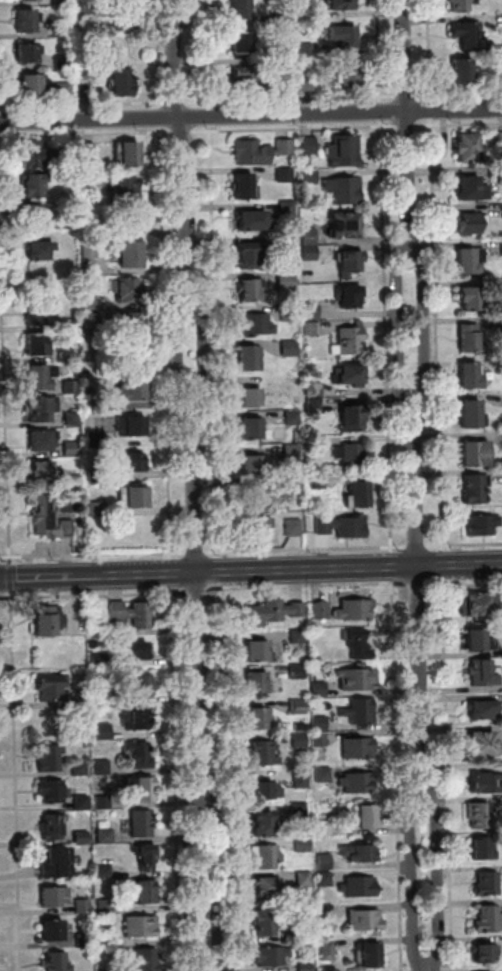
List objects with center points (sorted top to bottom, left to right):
building: (28, 0)
building: (62, 2)
building: (342, 6)
building: (463, 6)
building: (85, 7)
building: (307, 8)
building: (242, 11)
building: (283, 17)
building: (124, 18)
building: (27, 22)
building: (63, 29)
building: (346, 37)
building: (472, 38)
building: (243, 44)
road: (210, 50)
building: (307, 50)
road: (430, 50)
road: (160, 51)
road: (382, 51)
building: (285, 54)
building: (29, 55)
building: (64, 62)
building: (463, 72)
building: (350, 77)
building: (501, 79)
building: (248, 81)
building: (286, 83)
building: (123, 84)
building: (307, 84)
building: (31, 88)
building: (65, 91)
building: (87, 91)
road: (459, 95)
road: (408, 96)
road: (292, 99)
road: (177, 102)
road: (84, 104)
road: (162, 104)
road: (211, 104)
road: (432, 109)
road: (382, 112)
road: (250, 115)
road: (161, 116)
road: (211, 116)
road: (178, 120)
road: (410, 124)
road: (459, 124)
road: (408, 126)
road: (295, 129)
road: (181, 132)
road: (85, 134)
building: (501, 139)
building: (285, 146)
building: (307, 149)
building: (87, 150)
building: (344, 150)
building: (468, 150)
building: (36, 152)
building: (252, 152)
building: (128, 154)
building: (501, 174)
building: (285, 175)
building: (309, 176)
building: (34, 183)
building: (243, 185)
building: (123, 189)
building: (344, 190)
building: (470, 192)
building: (287, 207)
building: (34, 212)
building: (251, 219)
building: (345, 224)
building: (472, 224)
building: (89, 232)
building: (309, 236)
building: (286, 243)
building: (39, 249)
building: (101, 250)
building: (90, 251)
building: (310, 252)
building: (131, 254)
building: (248, 255)
building: (69, 260)
building: (466, 260)
building: (350, 262)
building: (286, 281)
building: (252, 288)
building: (127, 289)
building: (349, 295)
building: (469, 296)
building: (89, 303)
building: (311, 310)
building: (36, 313)
building: (289, 313)
building: (91, 321)
building: (131, 324)
building: (256, 324)
building: (68, 325)
building: (312, 329)
road: (423, 334)
road: (399, 335)
road: (387, 337)
building: (469, 337)
road: (206, 341)
road: (216, 341)
road: (176, 342)
road: (166, 343)
building: (351, 343)
building: (38, 344)
building: (289, 349)
building: (66, 354)
building: (250, 358)
building: (86, 375)
building: (349, 375)
building: (41, 376)
building: (470, 376)
building: (71, 388)
building: (132, 389)
building: (315, 389)
building: (250, 397)
road: (5, 398)
building: (314, 404)
building: (94, 407)
building: (43, 408)
building: (472, 413)
building: (72, 418)
building: (291, 418)
building: (353, 418)
building: (131, 426)
building: (253, 429)
building: (43, 439)
building: (95, 440)
building: (316, 442)
building: (71, 449)
building: (291, 452)
building: (475, 453)
building: (351, 457)
building: (128, 461)
building: (254, 465)
building: (41, 469)
building: (96, 475)
building: (318, 483)
building: (294, 486)
building: (473, 488)
building: (358, 494)
building: (133, 496)
building: (254, 497)
road: (195, 508)
building: (95, 510)
building: (50, 517)
building: (482, 524)
building: (258, 525)
building: (343, 526)
building: (293, 527)
road: (442, 544)
road: (464, 545)
road: (417, 546)
road: (306, 549)
road: (196, 552)
road: (94, 554)
road: (392, 567)
road: (171, 572)
road: (222, 572)
road: (251, 572)
road: (10, 577)
road: (313, 585)
road: (417, 585)
road: (464, 585)
road: (197, 590)
road: (176, 593)
building: (475, 603)
road: (418, 607)
building: (355, 609)
building: (321, 611)
building: (272, 612)
building: (132, 613)
building: (49, 619)
building: (298, 636)
building: (478, 639)
building: (359, 643)
building: (133, 650)
building: (258, 650)
building: (500, 650)
building: (99, 662)
building: (313, 668)
building: (297, 671)
building: (481, 672)
building: (358, 679)
building: (257, 683)
building: (142, 686)
road: (199, 686)
building: (51, 687)
building: (319, 689)
building: (99, 696)
road: (174, 696)
building: (298, 706)
building: (480, 707)
building: (359, 712)
building: (136, 718)
building: (260, 718)
building: (320, 723)
building: (103, 731)
building: (300, 740)
building: (319, 740)
building: (480, 743)
building: (358, 748)
building: (264, 753)
building: (139, 755)
building: (50, 757)
building: (102, 766)
building: (79, 768)
road: (226, 772)
building: (323, 775)
road: (397, 776)
building: (301, 778)
road: (16, 781)
building: (484, 781)
building: (357, 782)
building: (142, 788)
building: (53, 790)
building: (266, 790)
building: (81, 802)
building: (103, 803)
building: (299, 810)
building: (476, 814)
building: (364, 817)
building: (142, 823)
building: (263, 823)
building: (55, 826)
building: (324, 828)
building: (105, 836)
building: (81, 837)
building: (303, 844)
building: (484, 846)
building: (359, 853)
building: (147, 855)
building: (266, 857)
building: (324, 861)
building: (58, 862)
building: (104, 871)
building: (304, 879)
building: (324, 880)
road: (412, 880)
road: (436, 880)
building: (485, 882)
road: (191, 884)
road: (216, 885)
building: (270, 887)
building: (359, 888)
building: (145, 891)
building: (56, 896)
building: (106, 906)
building: (83, 907)
building: (325, 913)
building: (486, 917)
building: (365, 922)
building: (267, 923)
building: (141, 927)
building: (53, 930)
building: (305, 930)
building: (106, 940)
building: (83, 941)
building: (327, 951)
building: (481, 952)
building: (369, 954)
building: (271, 957)
building: (147, 960)
building: (57, 962)
building: (306, 967)
road: (428, 968)
road: (206, 970)

